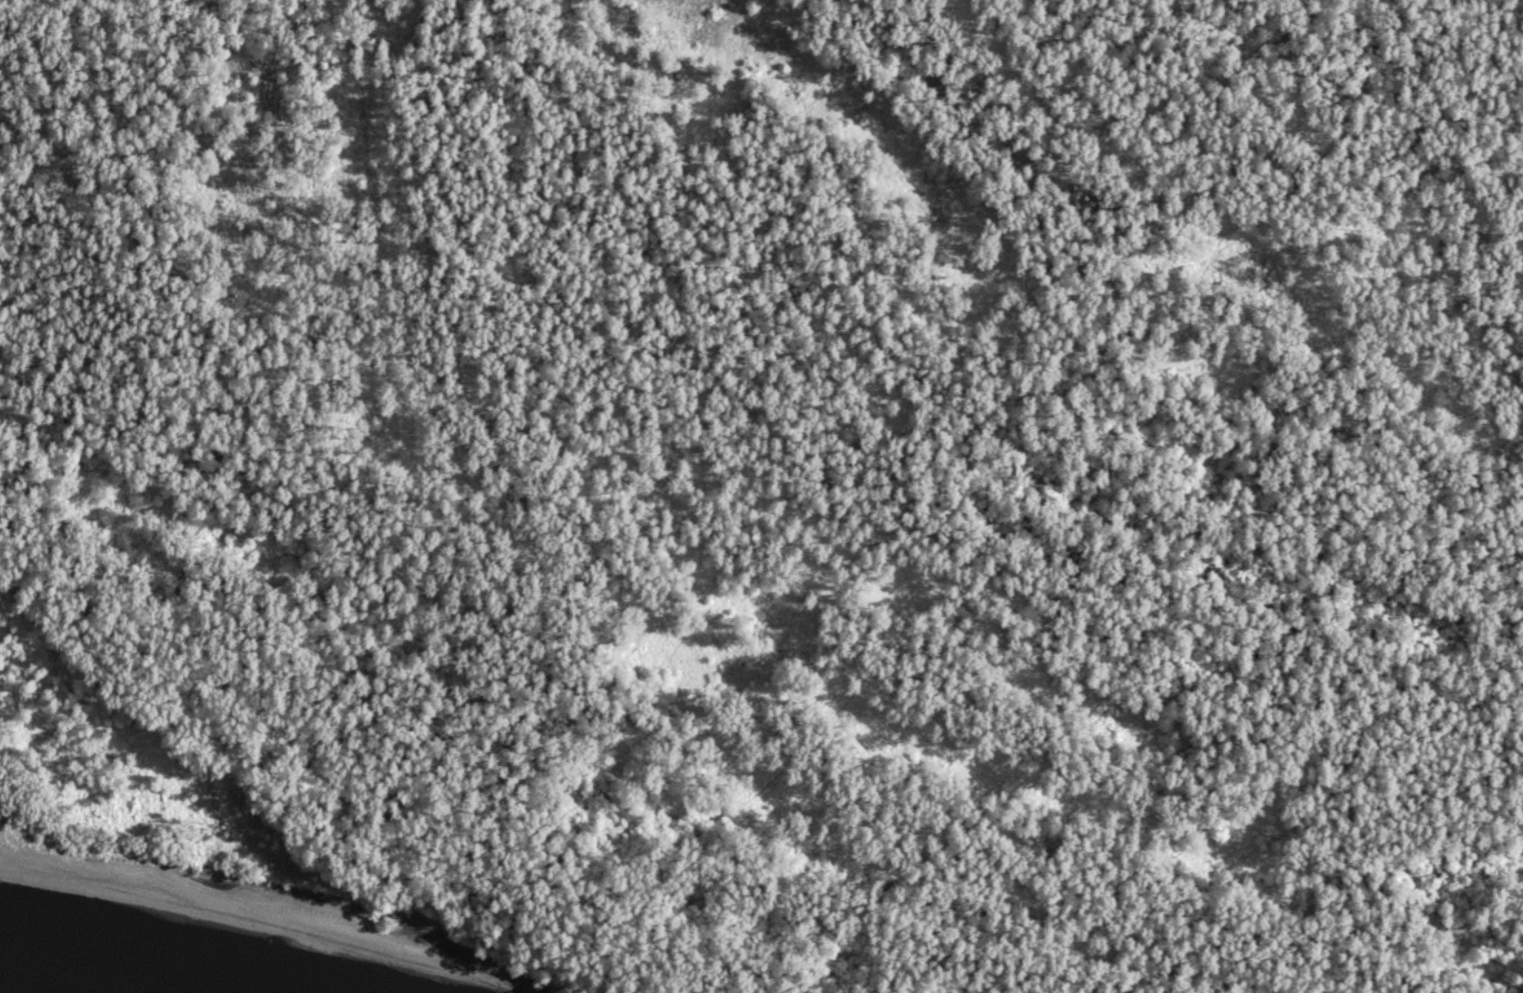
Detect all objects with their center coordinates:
river: (73, 972)

